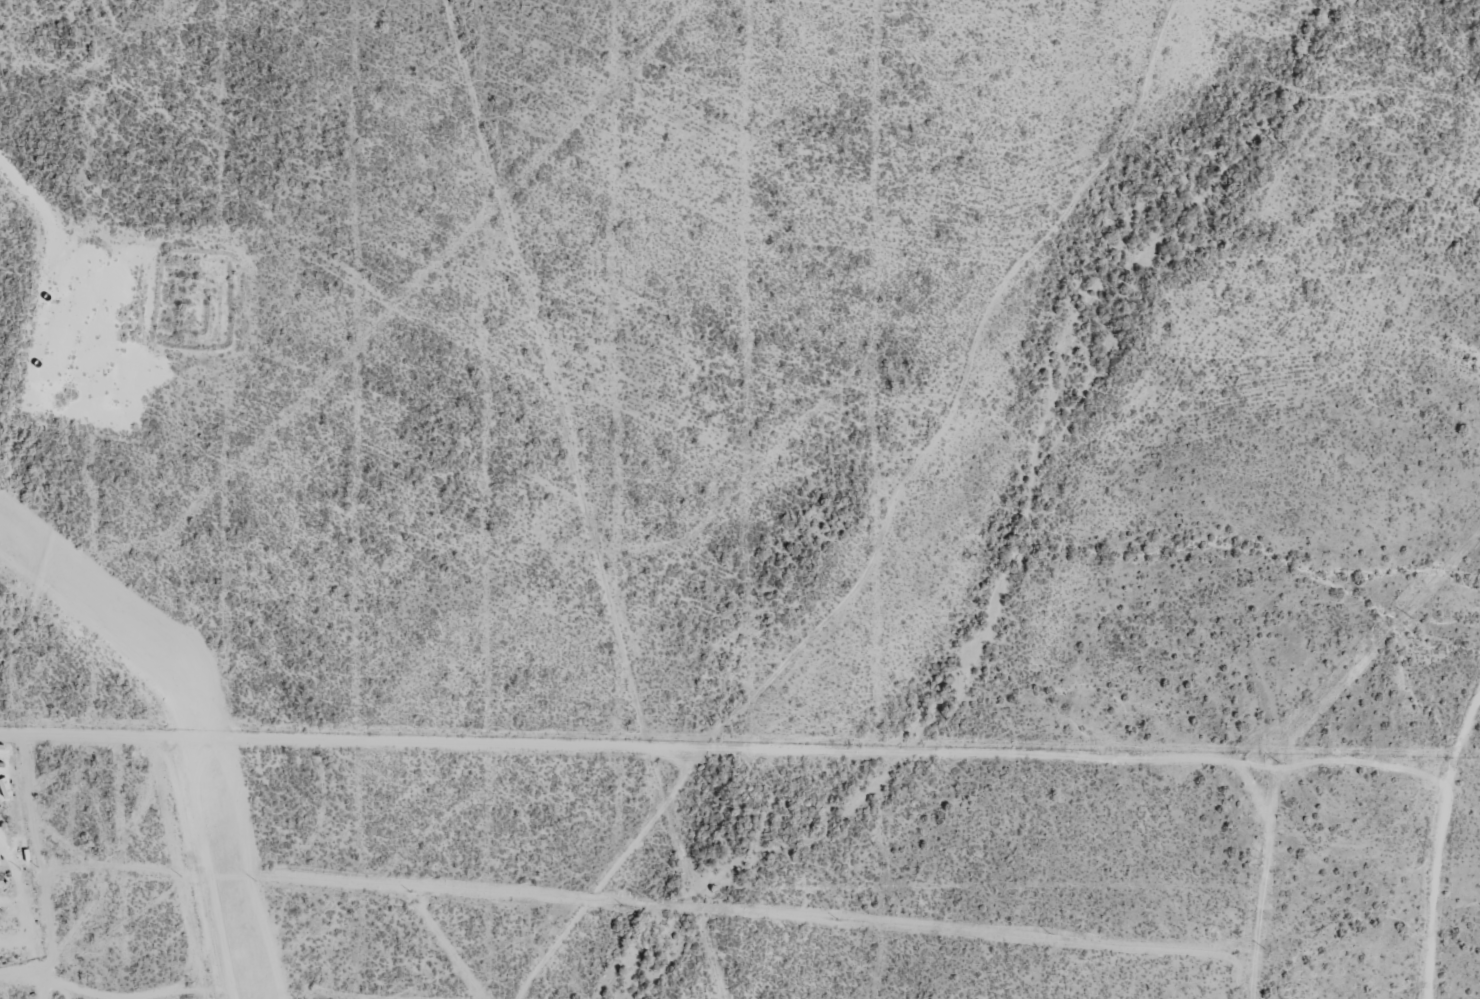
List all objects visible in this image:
road: (44, 903)

